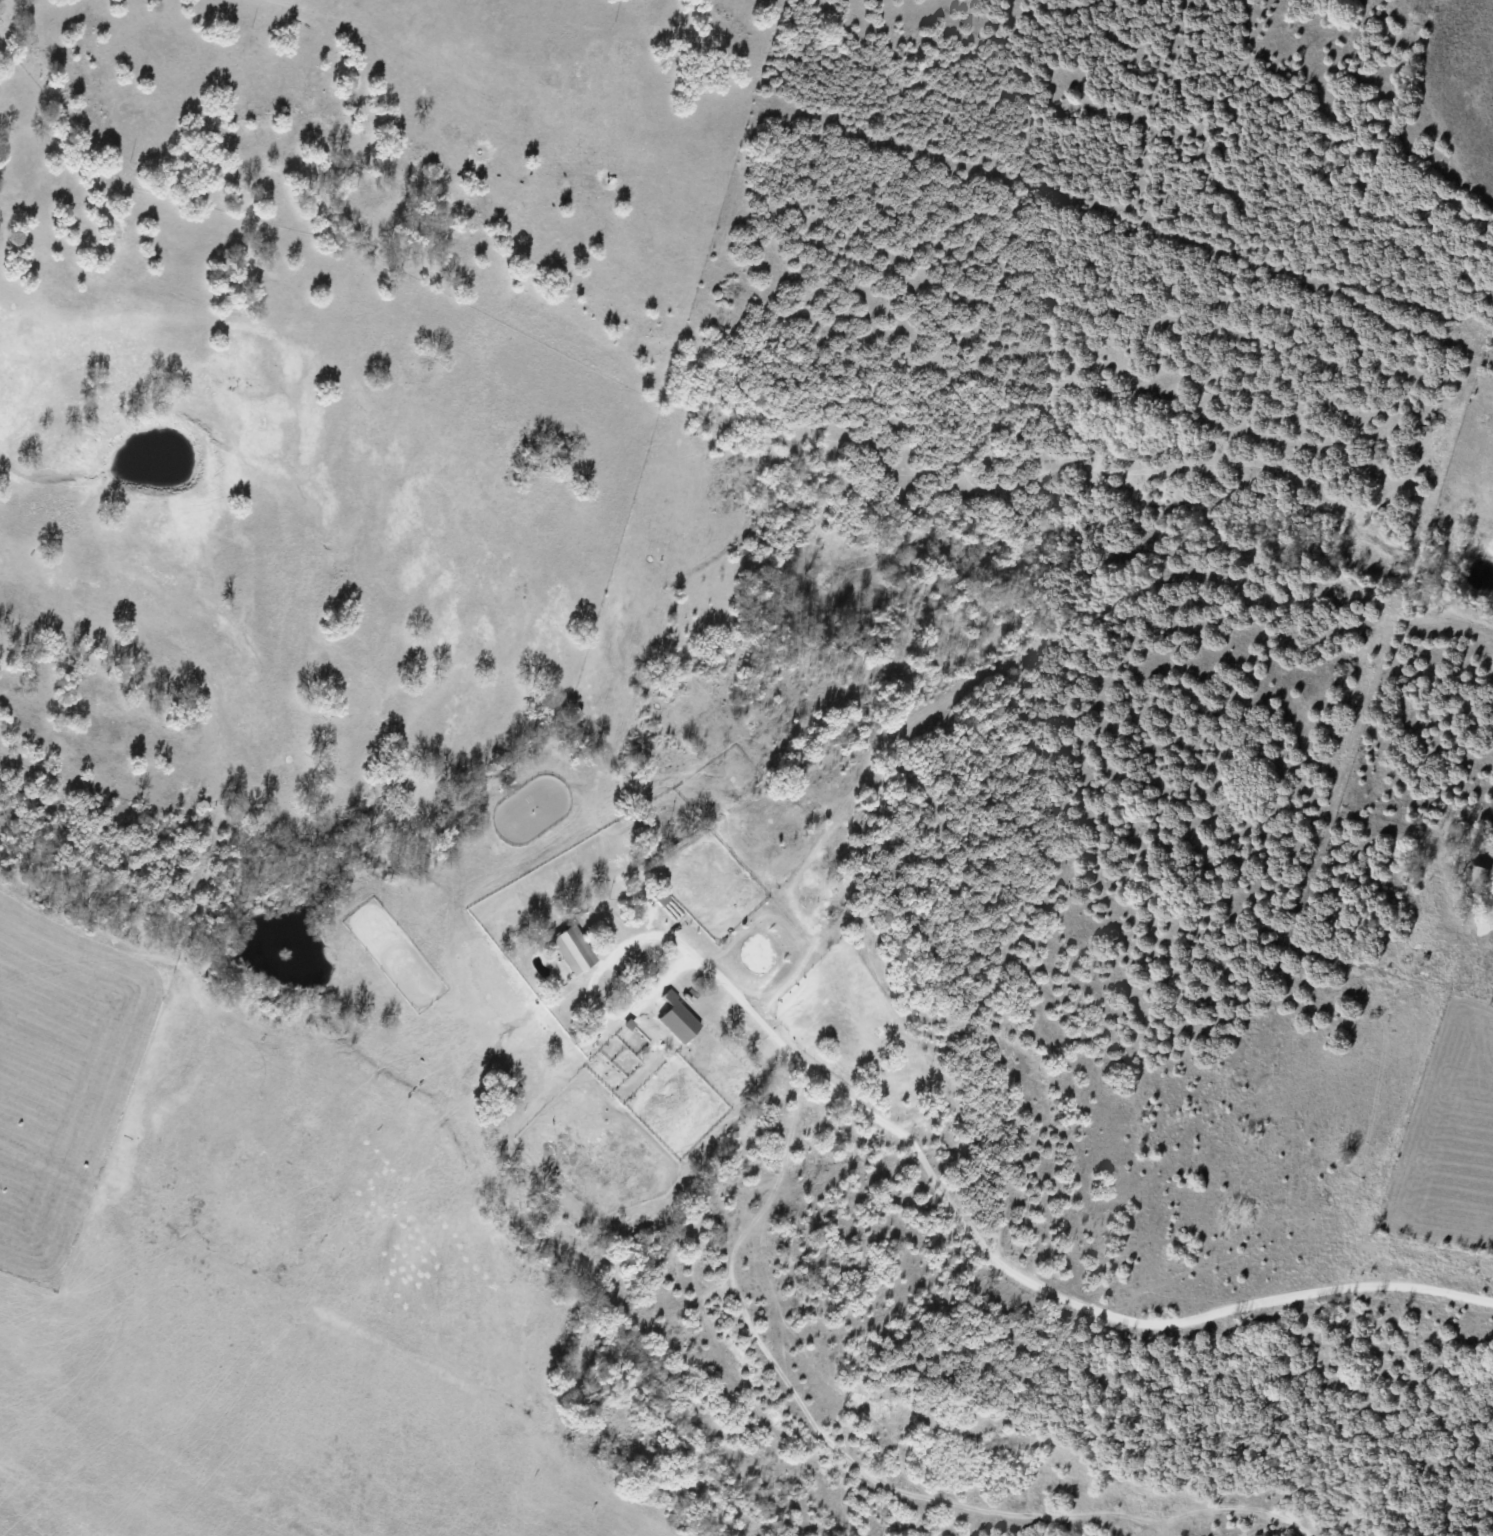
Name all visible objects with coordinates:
road: (967, 760)
building: (1474, 880)
building: (574, 949)
building: (678, 1018)

